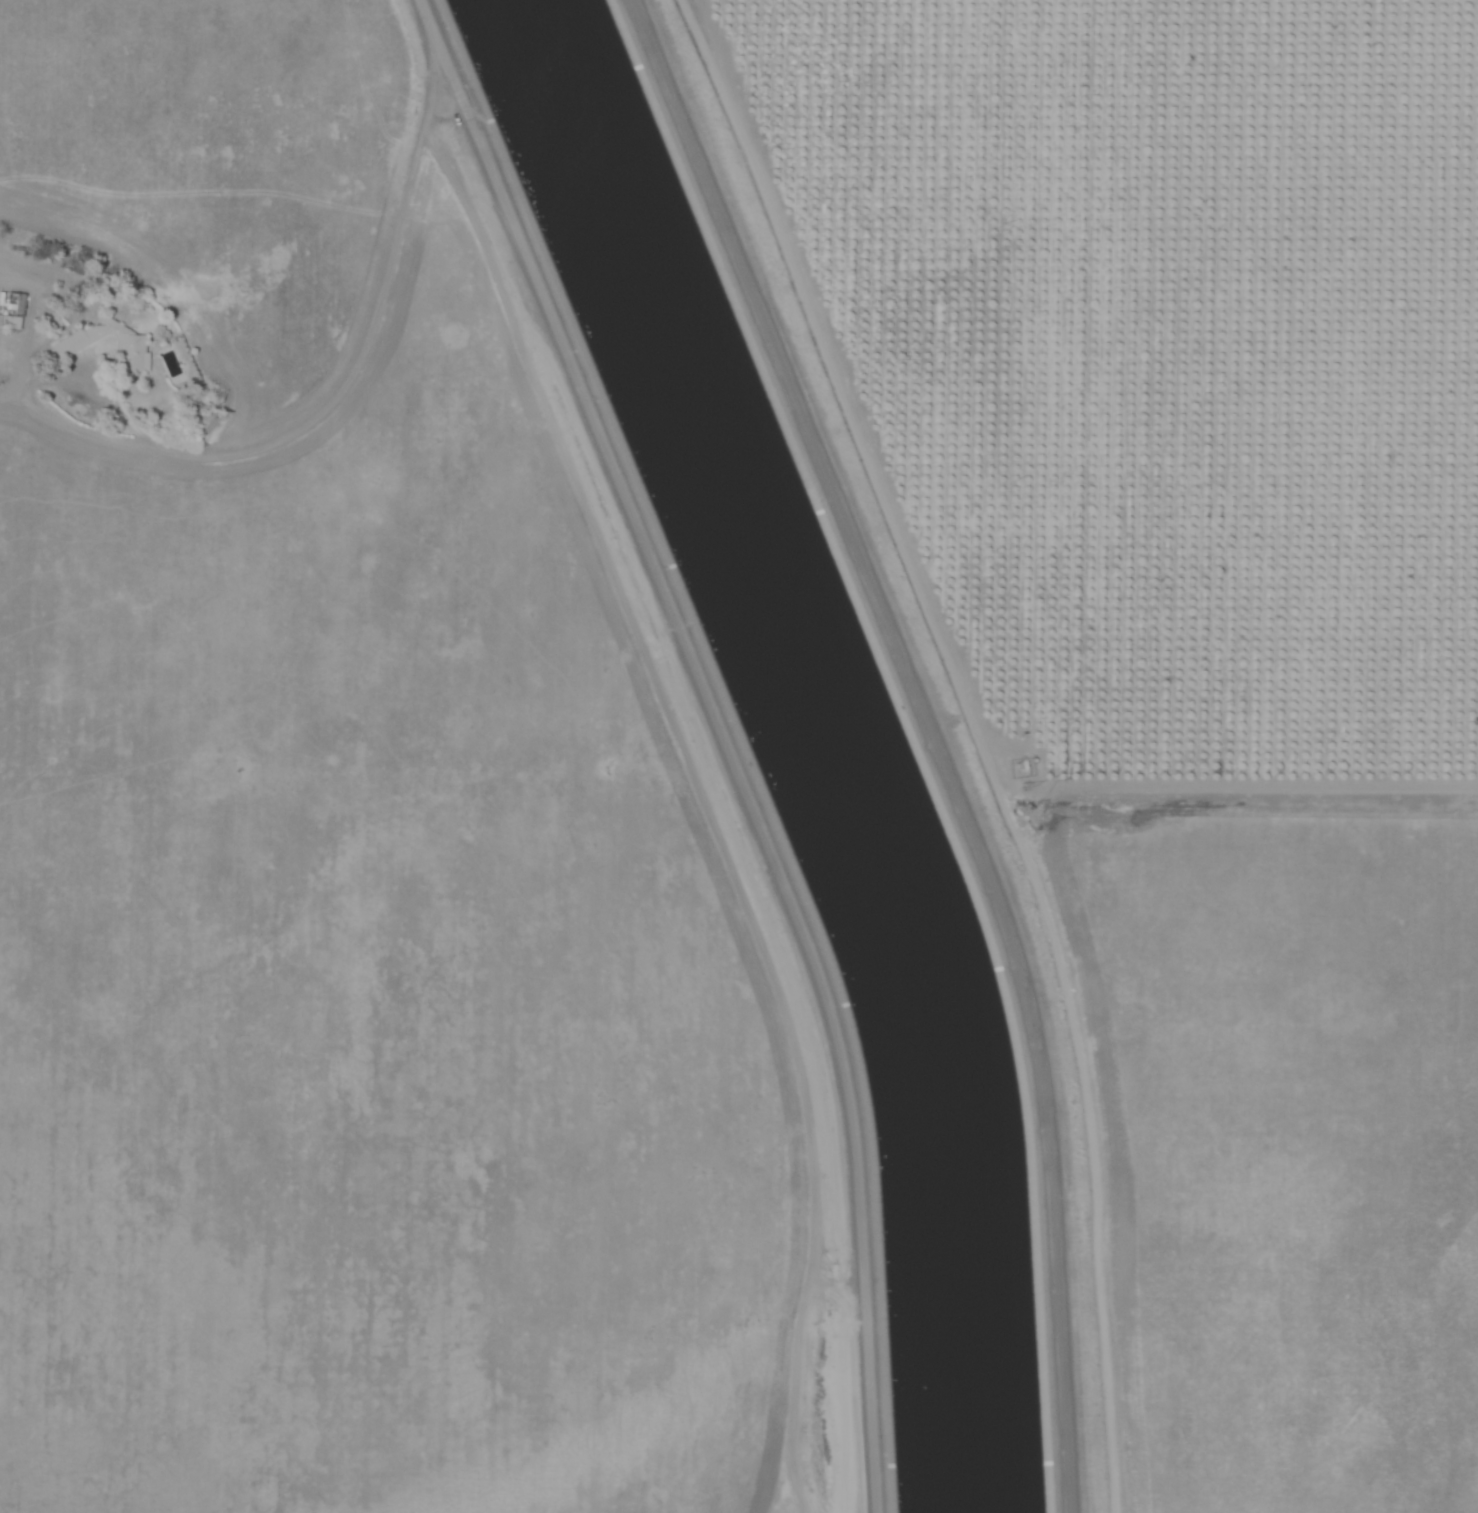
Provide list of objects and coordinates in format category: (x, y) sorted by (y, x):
building: (10, 310)
building: (70, 344)
building: (129, 353)
road: (352, 379)
crop: (1226, 641)
road: (720, 737)
crop: (356, 848)

